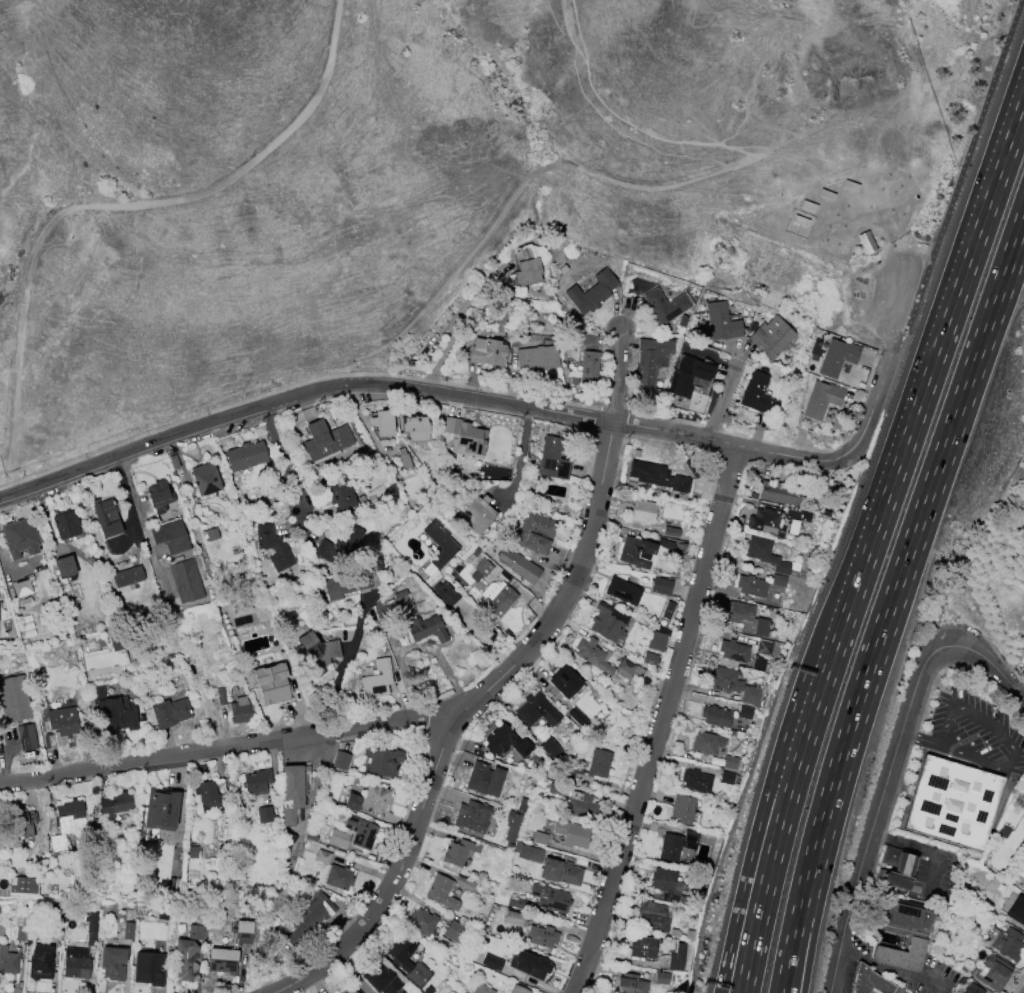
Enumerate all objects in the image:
road: (959, 177)
road: (642, 200)
road: (113, 205)
building: (866, 242)
building: (527, 272)
building: (591, 292)
building: (665, 306)
power tower: (478, 320)
building: (682, 321)
building: (721, 322)
building: (772, 337)
building: (589, 340)
building: (487, 352)
building: (537, 357)
building: (836, 357)
building: (651, 360)
building: (589, 368)
building: (687, 375)
building: (700, 385)
road: (924, 389)
building: (757, 393)
road: (607, 395)
road: (727, 395)
building: (821, 399)
road: (474, 403)
building: (382, 423)
building: (415, 427)
building: (463, 437)
building: (325, 440)
road: (281, 455)
building: (245, 456)
building: (404, 459)
building: (552, 459)
building: (657, 476)
building: (205, 478)
building: (780, 493)
building: (159, 494)
building: (342, 497)
building: (642, 511)
building: (475, 513)
building: (106, 517)
building: (796, 518)
building: (763, 520)
road: (145, 522)
building: (65, 524)
road: (914, 526)
building: (671, 531)
building: (535, 533)
building: (211, 534)
building: (170, 535)
building: (20, 537)
building: (440, 543)
building: (339, 546)
building: (272, 547)
building: (640, 551)
building: (765, 553)
building: (518, 565)
building: (64, 567)
building: (481, 569)
building: (127, 576)
building: (185, 580)
building: (777, 580)
building: (345, 584)
building: (661, 586)
building: (751, 586)
building: (21, 588)
building: (623, 590)
building: (445, 593)
building: (497, 598)
building: (402, 599)
building: (666, 612)
building: (747, 619)
building: (608, 622)
building: (426, 629)
building: (656, 641)
building: (764, 648)
building: (733, 651)
building: (316, 652)
building: (593, 654)
building: (649, 658)
road: (346, 665)
road: (994, 666)
building: (628, 668)
building: (376, 680)
building: (565, 681)
building: (270, 683)
building: (732, 684)
building: (221, 696)
building: (14, 698)
road: (816, 705)
building: (239, 710)
building: (536, 710)
building: (113, 711)
building: (169, 712)
building: (745, 712)
building: (715, 716)
building: (577, 717)
road: (656, 720)
road: (397, 725)
building: (60, 726)
road: (1003, 734)
building: (26, 737)
building: (506, 742)
road: (919, 742)
building: (706, 743)
building: (550, 748)
building: (340, 760)
building: (382, 760)
building: (730, 762)
building: (598, 763)
building: (484, 779)
building: (696, 780)
building: (256, 781)
road: (312, 789)
building: (290, 791)
building: (1023, 793)
building: (208, 794)
building: (376, 797)
building: (352, 802)
building: (951, 802)
building: (116, 804)
building: (523, 805)
building: (581, 805)
building: (682, 808)
road: (877, 808)
building: (161, 809)
building: (264, 814)
building: (69, 816)
building: (472, 816)
building: (22, 822)
building: (512, 825)
building: (222, 826)
building: (1003, 831)
building: (361, 832)
building: (571, 834)
building: (338, 838)
building: (539, 838)
building: (57, 844)
building: (677, 845)
road: (926, 848)
building: (192, 852)
building: (458, 852)
building: (530, 853)
building: (322, 857)
road: (758, 862)
road: (771, 863)
building: (895, 868)
building: (560, 872)
building: (338, 877)
road: (395, 879)
building: (465, 884)
building: (22, 885)
building: (667, 885)
building: (441, 892)
building: (550, 899)
building: (517, 903)
building: (315, 910)
building: (653, 916)
building: (1020, 916)
building: (899, 917)
building: (513, 918)
road: (796, 918)
road: (807, 919)
building: (421, 922)
building: (90, 927)
building: (127, 931)
building: (195, 932)
building: (243, 932)
building: (456, 932)
building: (541, 936)
building: (1005, 943)
building: (642, 947)
power tower: (265, 952)
building: (901, 955)
building: (677, 957)
building: (184, 958)
building: (222, 960)
building: (8, 961)
building: (400, 962)
building: (491, 962)
building: (40, 963)
building: (75, 963)
building: (113, 963)
building: (529, 963)
building: (149, 968)
road: (894, 968)
building: (993, 973)
building: (661, 978)
building: (380, 979)
building: (869, 981)
building: (630, 984)
building: (481, 989)
building: (518, 989)
building: (973, 989)
building: (348, 990)
building: (899, 990)

